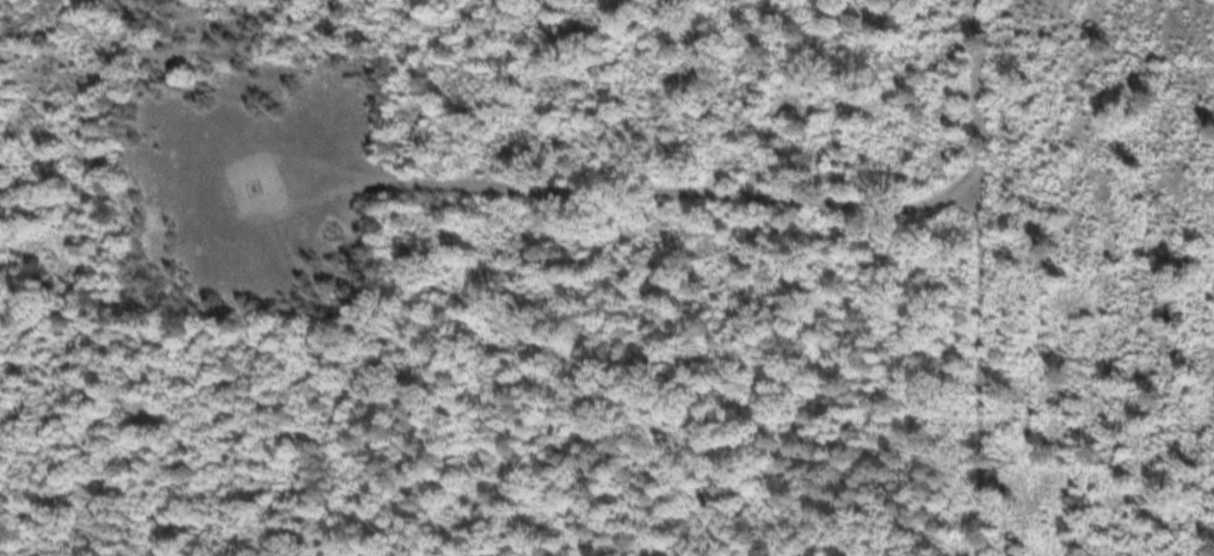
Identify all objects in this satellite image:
road: (252, 155)
road: (461, 183)
road: (976, 369)

